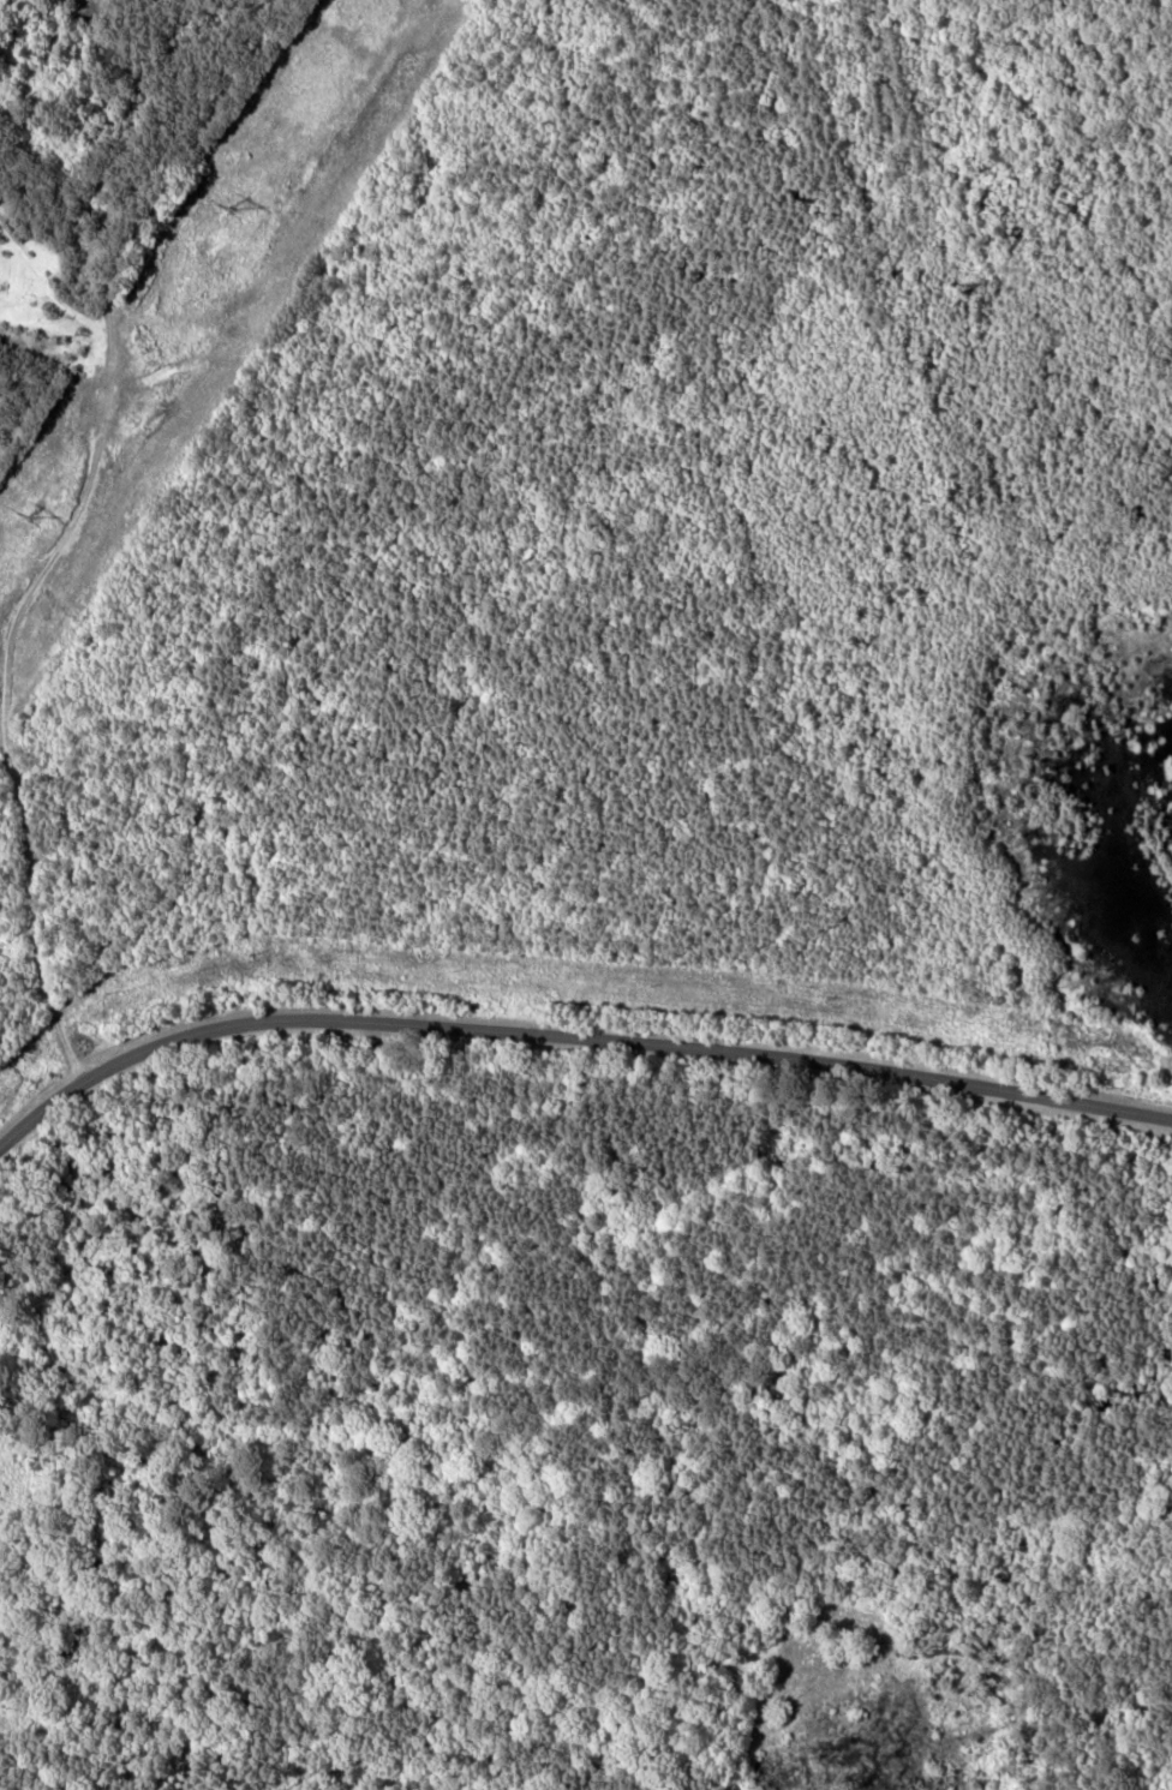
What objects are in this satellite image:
power tower: (232, 208)
power tower: (34, 516)
road: (569, 1036)

